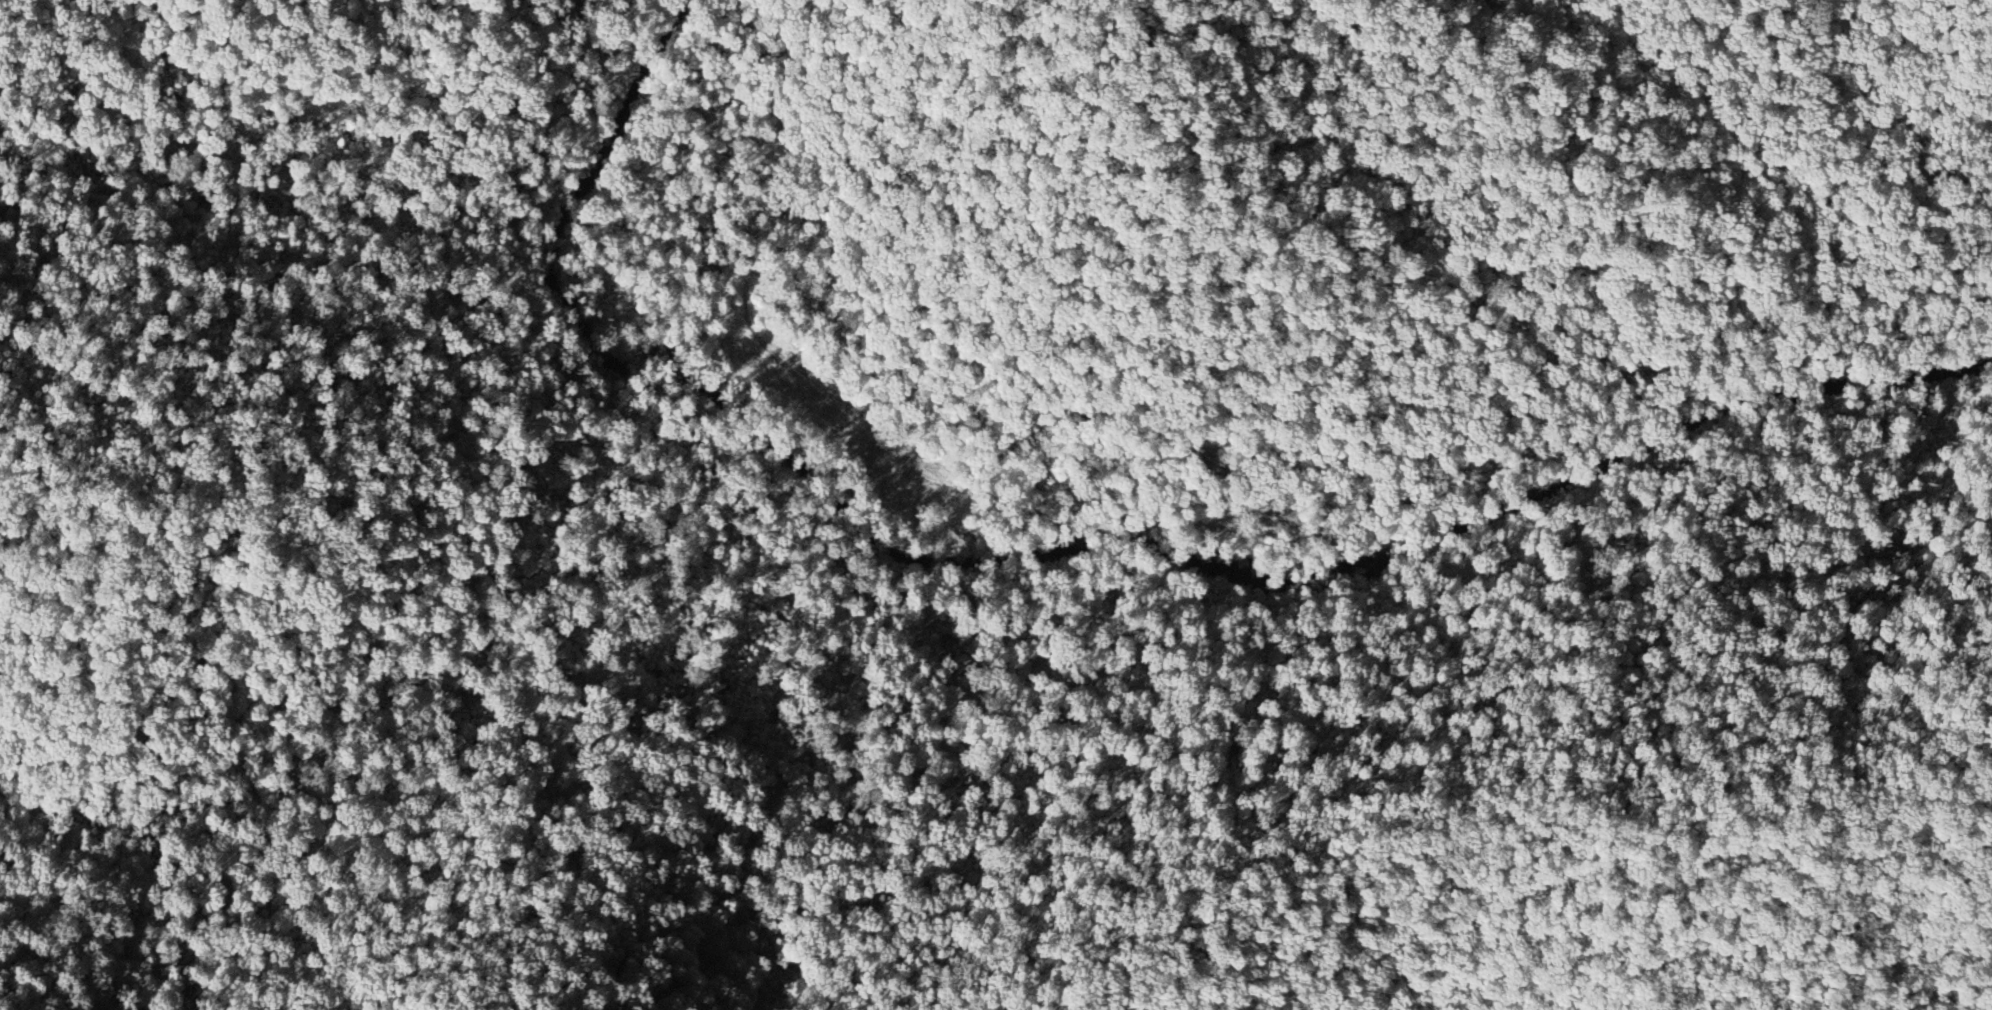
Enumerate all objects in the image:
road: (1203, 510)
road: (532, 567)

